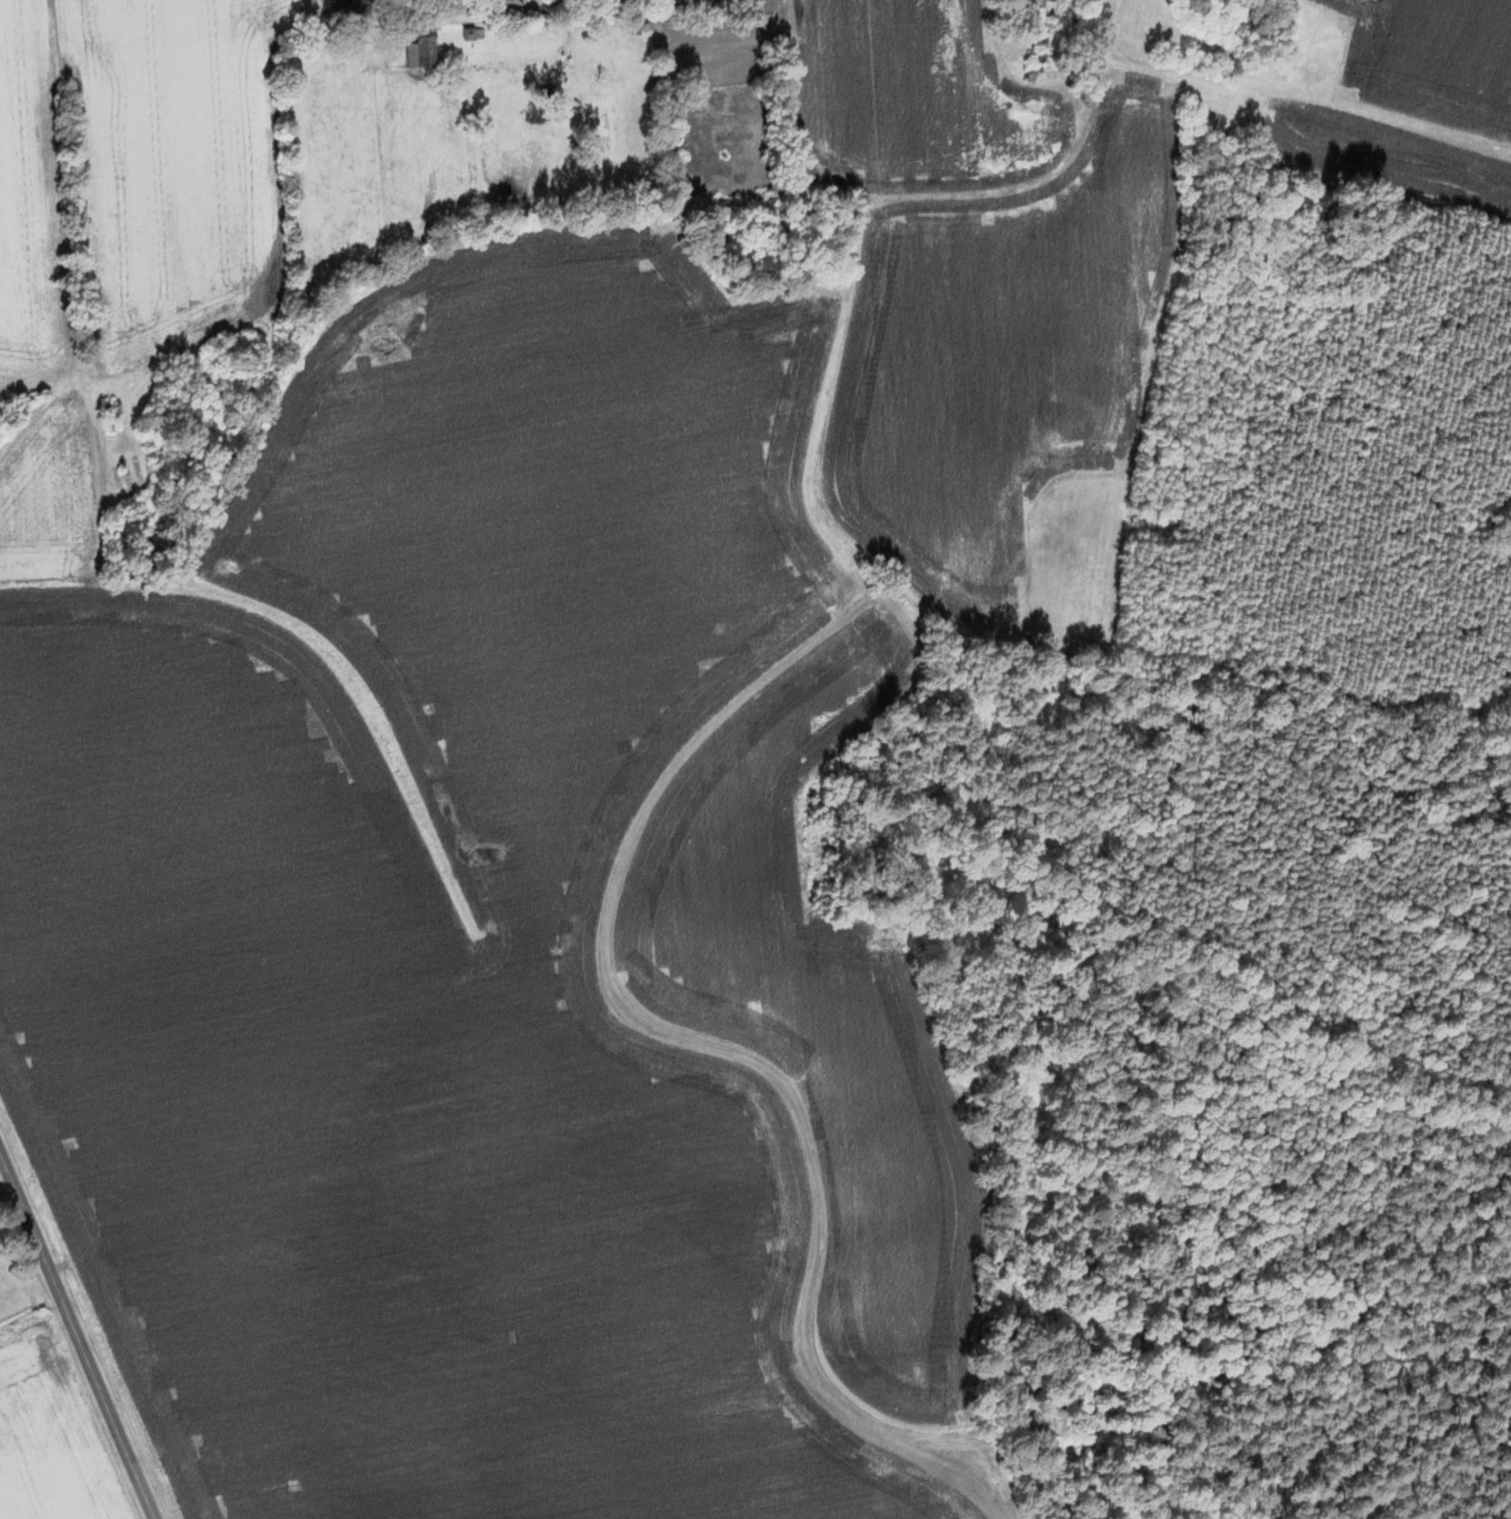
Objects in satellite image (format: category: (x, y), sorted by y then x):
building: (502, 2)
building: (1038, 13)
building: (633, 18)
building: (466, 33)
building: (418, 48)
road: (1285, 133)
road: (67, 188)
road: (942, 201)
road: (316, 321)
building: (109, 413)
road: (77, 1335)

